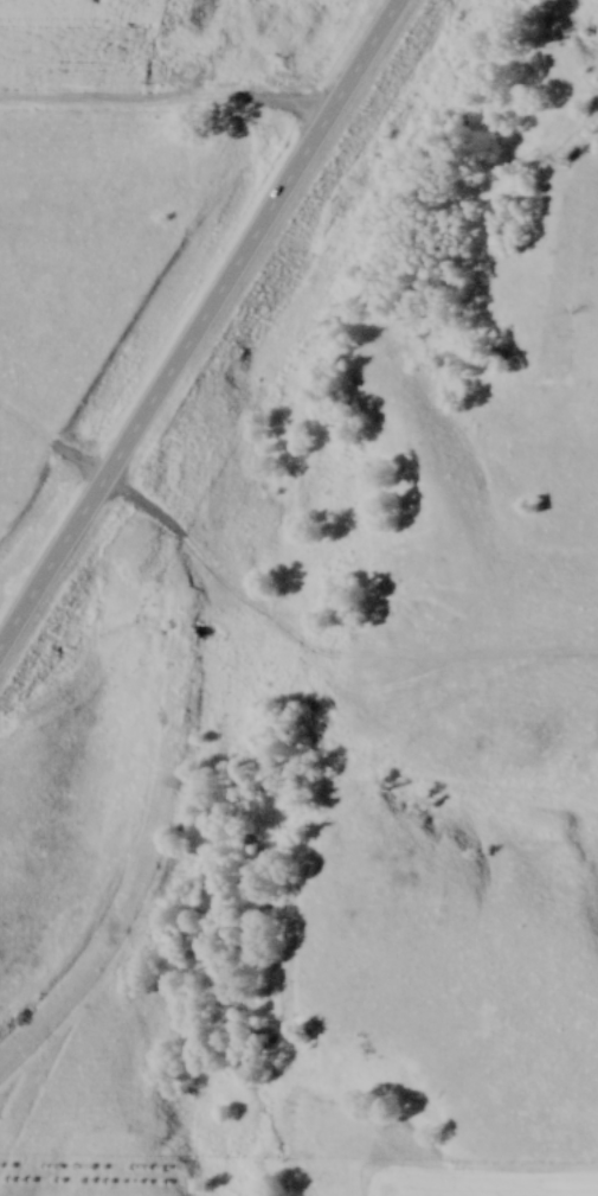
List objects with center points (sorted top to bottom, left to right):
road: (202, 328)

